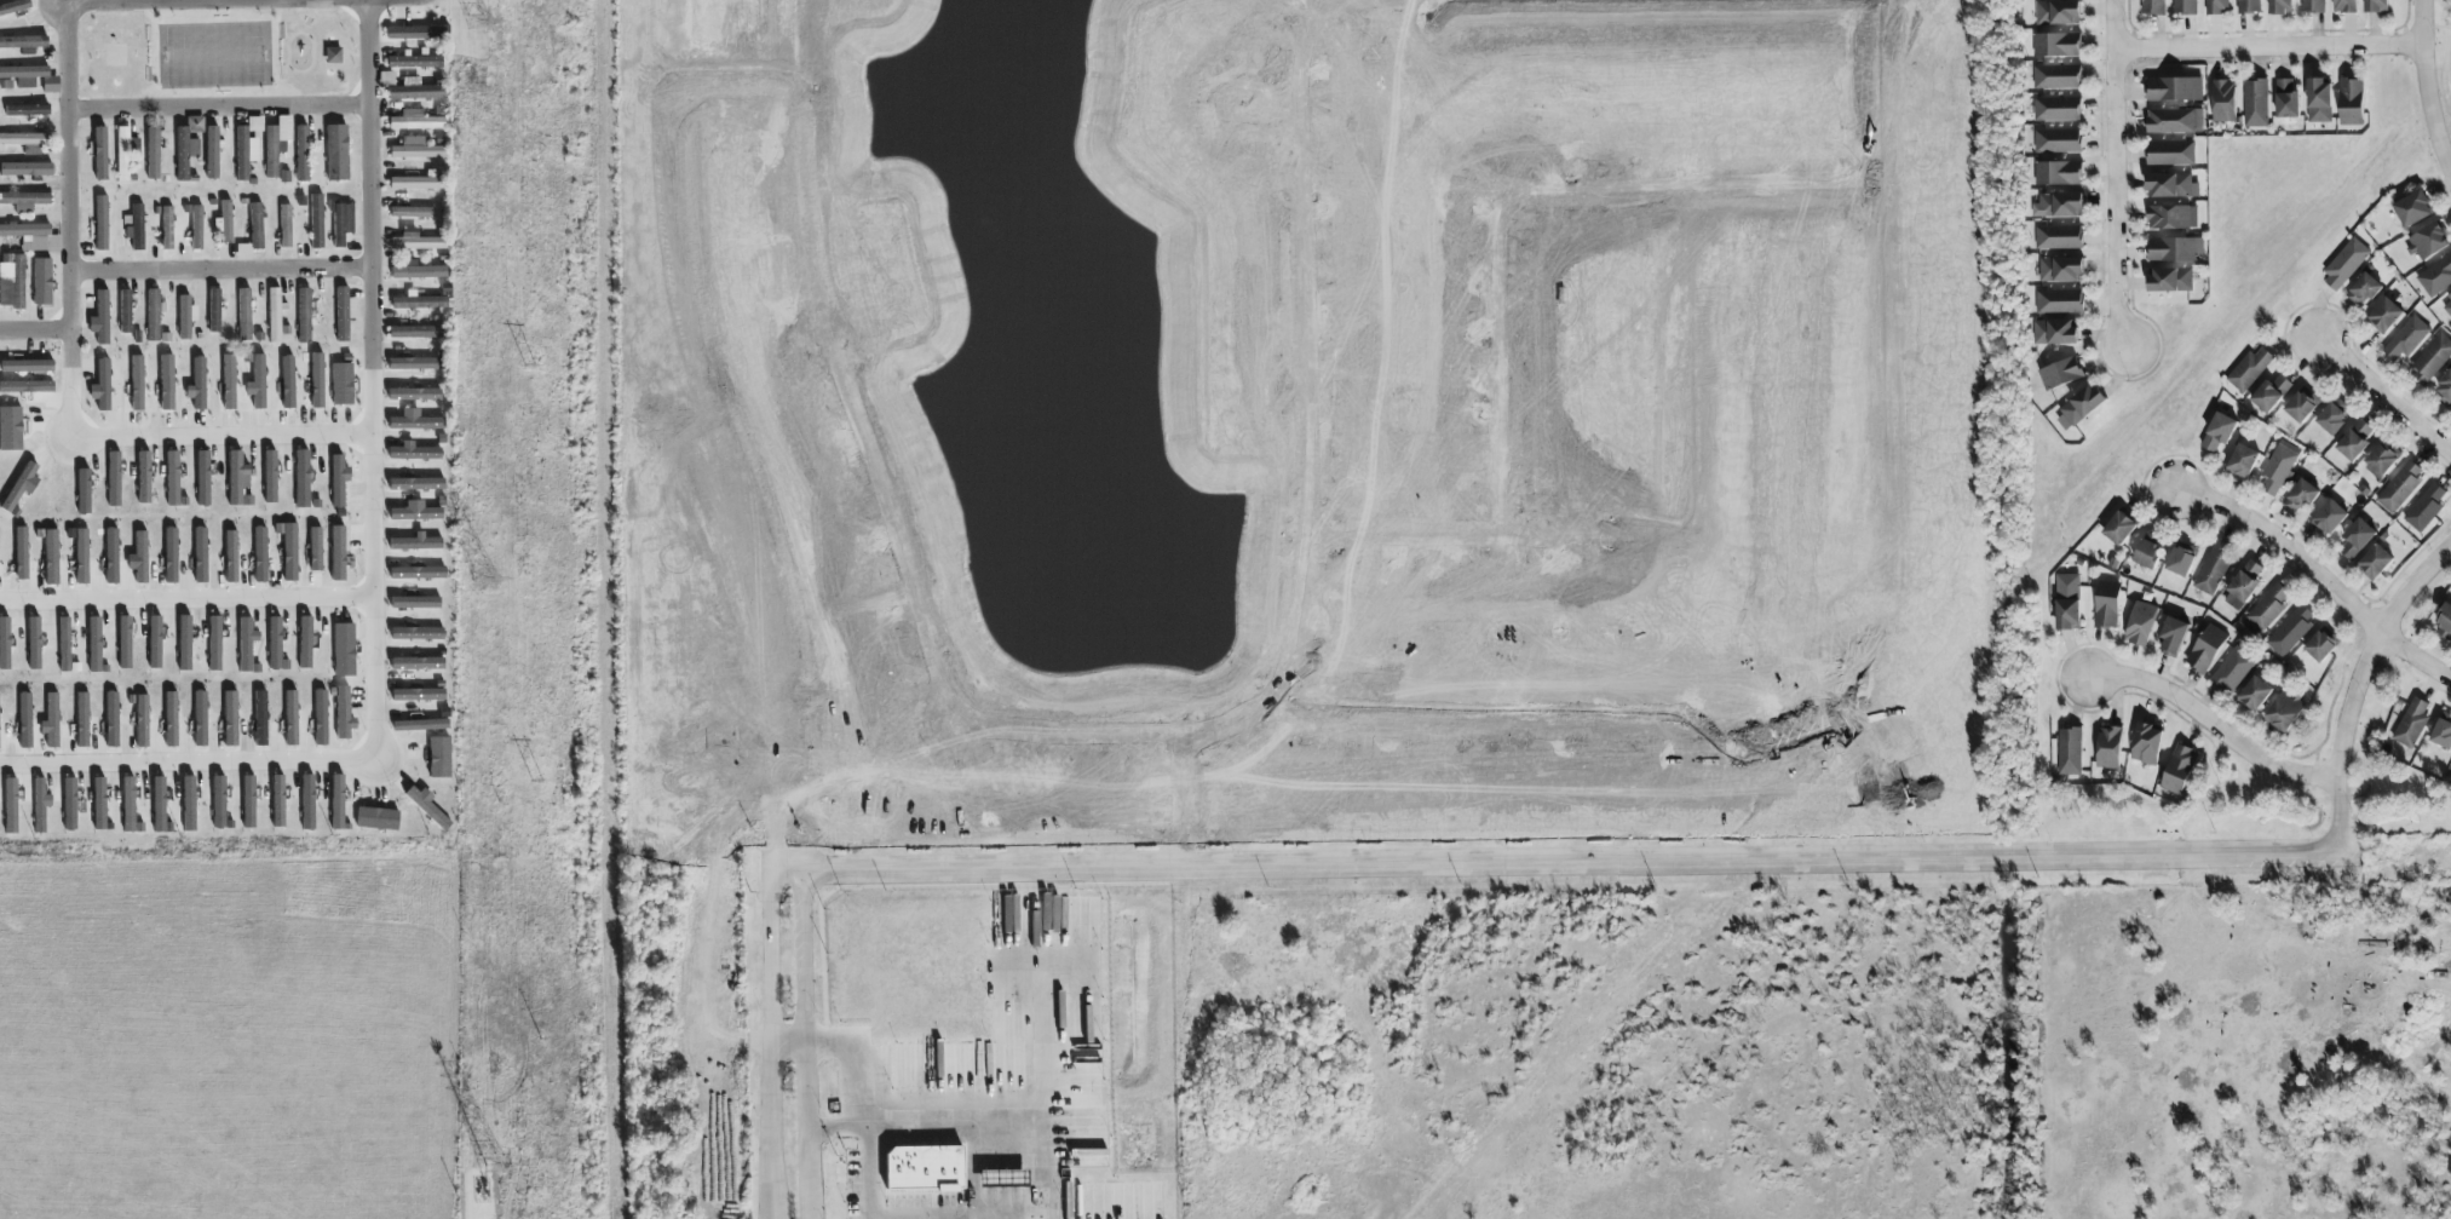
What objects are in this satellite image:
road: (110, 1)
building: (2312, 5)
building: (2344, 5)
building: (2376, 5)
building: (2152, 6)
building: (2185, 6)
building: (2216, 6)
building: (2248, 6)
building: (2280, 6)
building: (15, 7)
building: (2058, 11)
power tower: (481, 21)
road: (2436, 27)
building: (409, 33)
building: (24, 42)
building: (2055, 44)
road: (2269, 45)
road: (2445, 53)
park: (116, 56)
building: (415, 62)
building: (2055, 75)
building: (30, 77)
building: (410, 88)
building: (2174, 88)
road: (2426, 88)
building: (2286, 98)
building: (2223, 99)
building: (2320, 99)
building: (2351, 100)
building: (2255, 102)
road: (1275, 103)
road: (220, 108)
building: (2056, 108)
building: (25, 110)
building: (415, 120)
building: (2175, 120)
building: (196, 125)
building: (24, 139)
building: (2058, 139)
building: (276, 143)
building: (247, 148)
building: (415, 149)
building: (125, 151)
building: (185, 151)
building: (2170, 151)
building: (153, 153)
building: (212, 153)
building: (338, 153)
building: (100, 154)
building: (301, 154)
building: (25, 169)
building: (2056, 172)
road: (2116, 174)
building: (416, 182)
road: (69, 183)
road: (372, 183)
building: (2171, 184)
building: (24, 201)
building: (2058, 205)
building: (2413, 208)
building: (412, 212)
building: (2173, 215)
building: (316, 220)
building: (226, 222)
building: (100, 223)
building: (341, 223)
building: (286, 225)
building: (136, 226)
building: (167, 228)
building: (196, 228)
building: (253, 232)
building: (2058, 236)
building: (29, 237)
building: (415, 241)
building: (2428, 241)
building: (2175, 248)
building: (2344, 261)
building: (2061, 268)
road: (223, 270)
building: (418, 271)
building: (2435, 275)
building: (2170, 278)
building: (12, 281)
building: (42, 282)
building: (2364, 287)
building: (2059, 300)
building: (420, 301)
building: (2447, 305)
building: (215, 310)
building: (125, 311)
building: (244, 312)
building: (344, 312)
building: (276, 314)
building: (2384, 314)
building: (154, 315)
building: (186, 316)
building: (304, 316)
building: (103, 318)
road: (1497, 321)
building: (2054, 330)
road: (35, 332)
building: (416, 332)
building: (2406, 338)
building: (2430, 358)
building: (27, 366)
building: (2249, 368)
building: (2060, 373)
building: (317, 380)
building: (167, 383)
building: (229, 383)
building: (258, 383)
building: (288, 383)
building: (137, 384)
building: (199, 384)
building: (341, 384)
building: (102, 385)
building: (2444, 390)
building: (2271, 392)
road: (2383, 395)
building: (2082, 403)
road: (375, 404)
building: (2300, 406)
building: (2331, 416)
building: (414, 421)
building: (2219, 431)
road: (1308, 436)
building: (2355, 439)
building: (414, 452)
building: (2243, 460)
building: (2381, 460)
building: (2277, 467)
building: (144, 477)
building: (173, 477)
building: (237, 477)
building: (271, 477)
building: (205, 478)
building: (211, 478)
building: (303, 478)
building: (114, 479)
building: (339, 479)
building: (416, 484)
building: (2400, 485)
building: (2301, 495)
building: (2424, 507)
building: (415, 513)
building: (2329, 517)
building: (2119, 527)
road: (1456, 537)
building: (2357, 537)
building: (416, 542)
building: (289, 550)
building: (2148, 550)
building: (21, 552)
building: (338, 553)
building: (201, 554)
building: (260, 554)
building: (81, 556)
building: (111, 556)
building: (172, 556)
building: (231, 556)
building: (51, 557)
building: (139, 558)
building: (2181, 558)
building: (2375, 560)
building: (2213, 567)
road: (2318, 571)
building: (418, 573)
power tower: (487, 579)
building: (2244, 583)
building: (2067, 600)
building: (415, 602)
road: (374, 604)
building: (2106, 604)
building: (2266, 609)
road: (188, 610)
building: (2444, 621)
building: (2140, 622)
building: (2290, 629)
building: (418, 633)
building: (2173, 636)
building: (125, 642)
building: (155, 642)
building: (305, 642)
building: (5, 643)
building: (34, 643)
building: (184, 643)
building: (214, 643)
building: (64, 644)
building: (94, 644)
building: (246, 644)
road: (930, 644)
building: (275, 645)
building: (2320, 645)
building: (2205, 648)
building: (344, 649)
building: (416, 663)
building: (2232, 669)
road: (2353, 684)
building: (2254, 692)
building: (420, 694)
building: (2285, 709)
building: (320, 717)
building: (111, 718)
building: (200, 718)
building: (24, 720)
building: (2411, 721)
building: (420, 724)
road: (2210, 724)
building: (2441, 732)
building: (2146, 743)
building: (2108, 747)
building: (2069, 751)
building: (2179, 769)
building: (248, 801)
building: (98, 803)
building: (189, 803)
building: (219, 803)
building: (307, 803)
building: (40, 804)
building: (69, 804)
building: (128, 804)
building: (11, 805)
building: (160, 805)
road: (1573, 861)
road: (788, 872)
road: (776, 1042)
road: (771, 1045)
road: (807, 1045)
road: (867, 1114)
road: (960, 1137)
power tower: (494, 1161)
building: (925, 1168)

